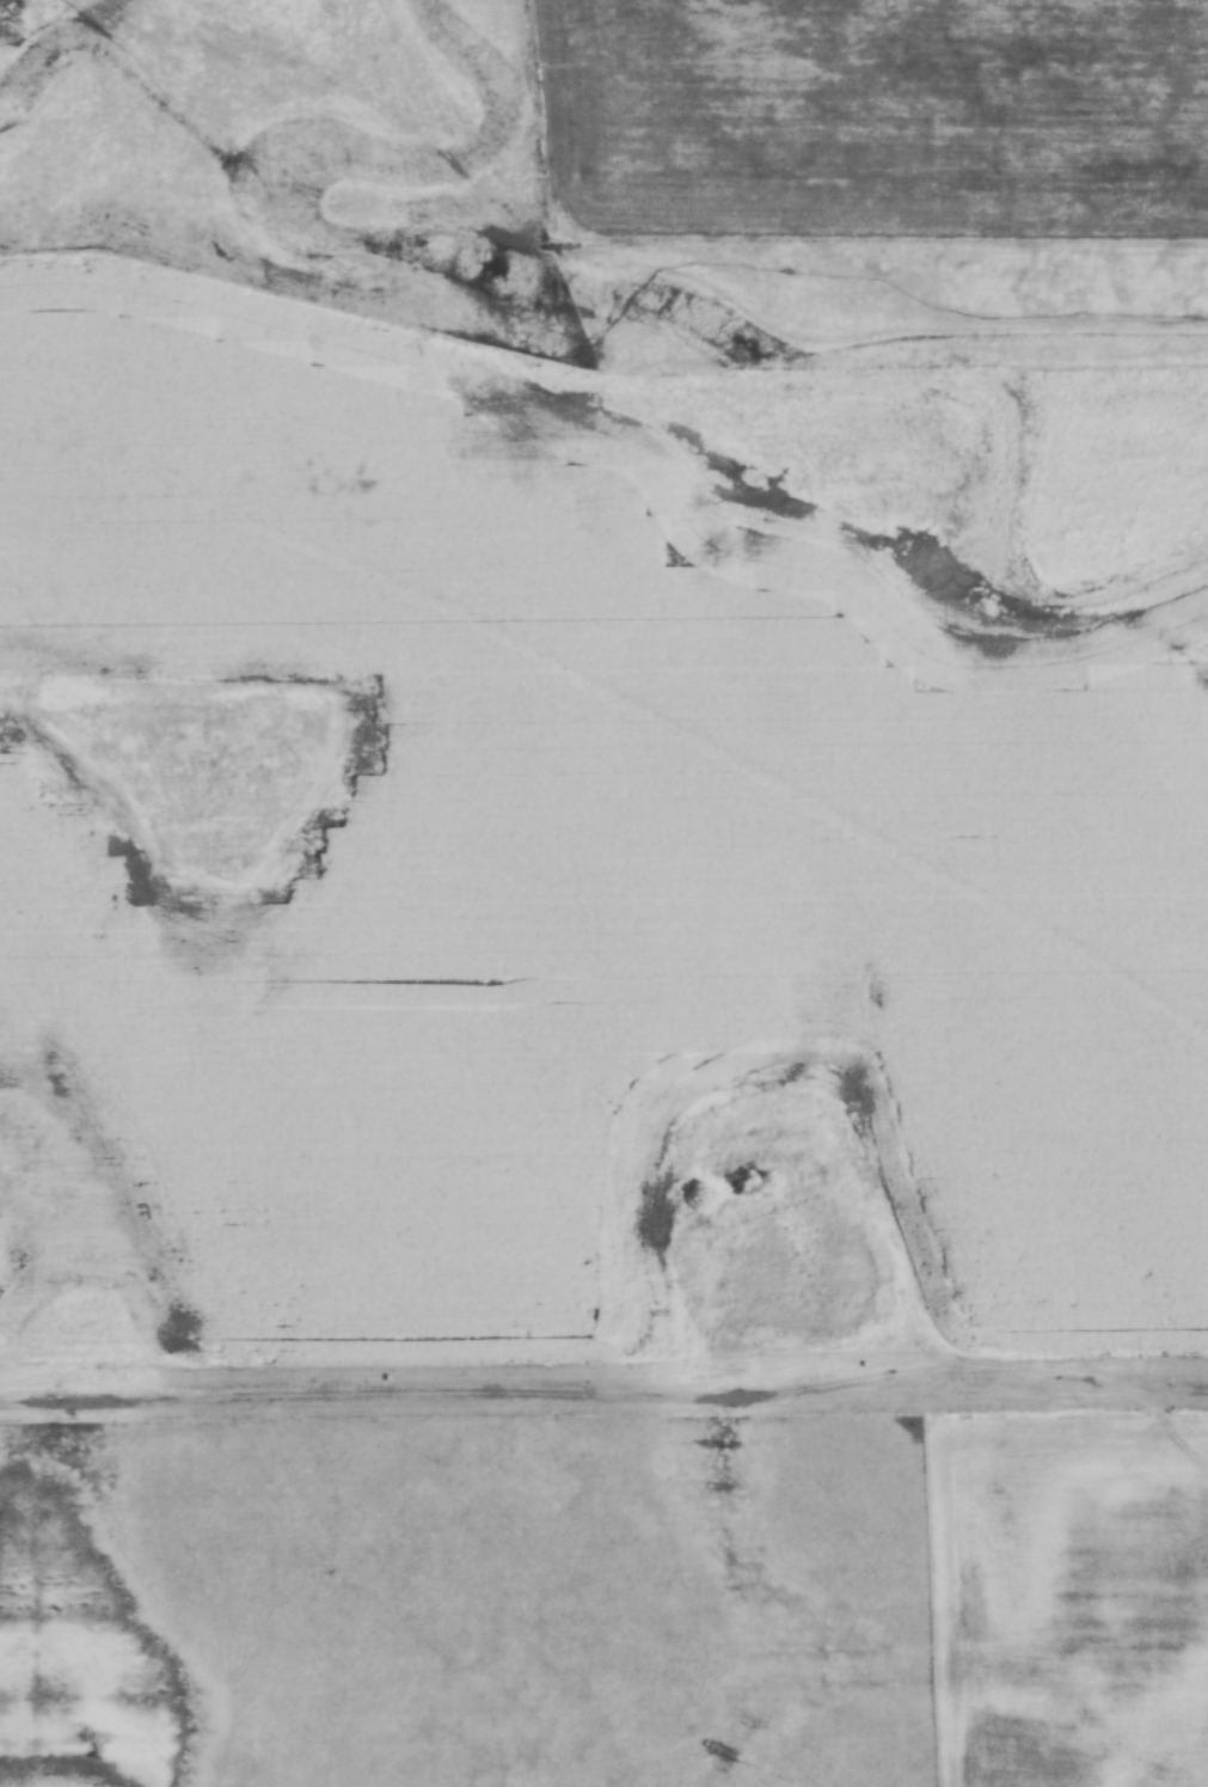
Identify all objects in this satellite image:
road: (603, 1365)

